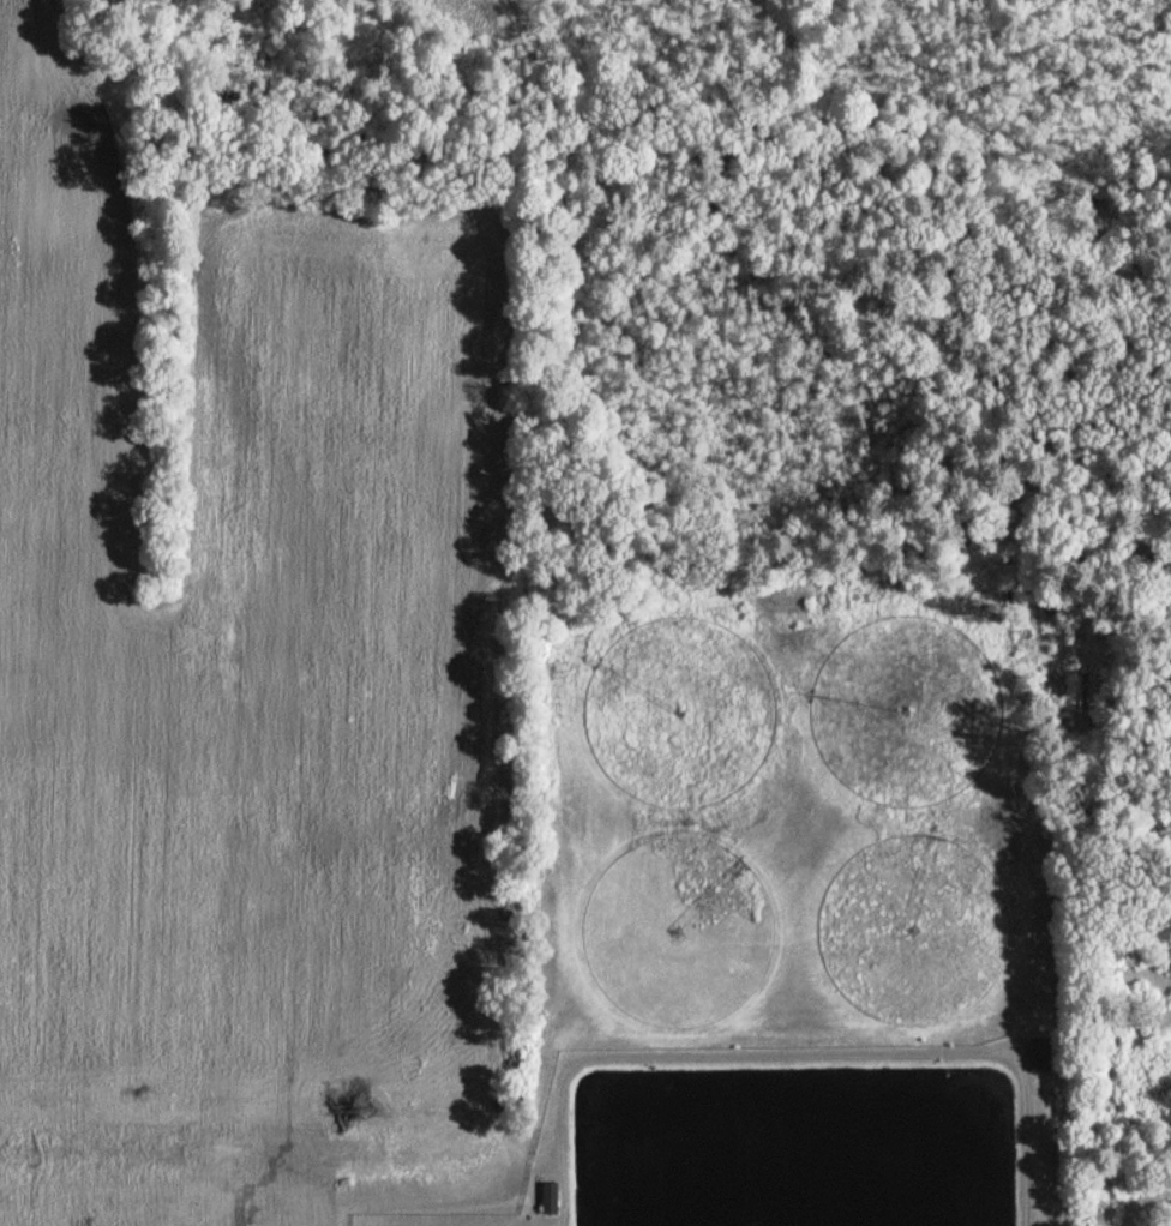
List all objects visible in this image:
building: (1037, 1056)
building: (546, 1200)

